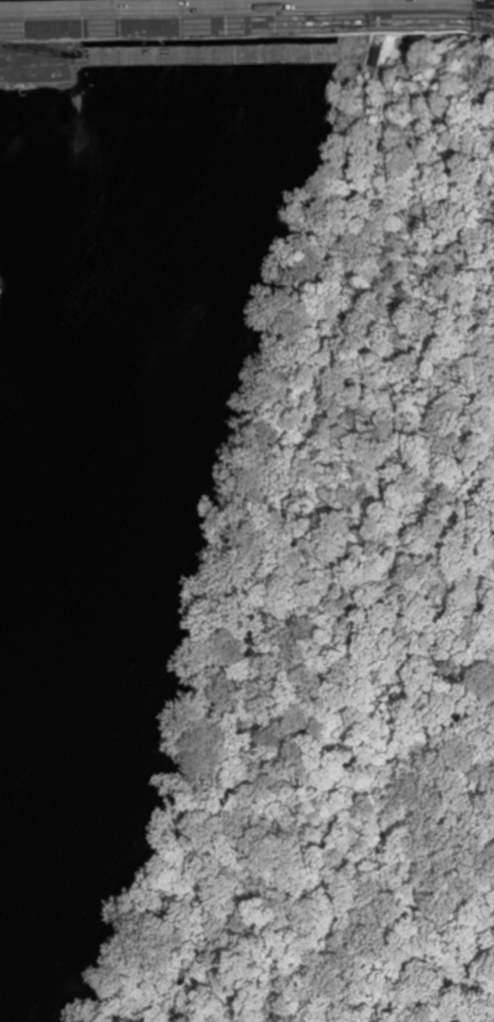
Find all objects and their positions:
road: (480, 23)
road: (233, 28)
river: (72, 347)
road: (266, 507)

